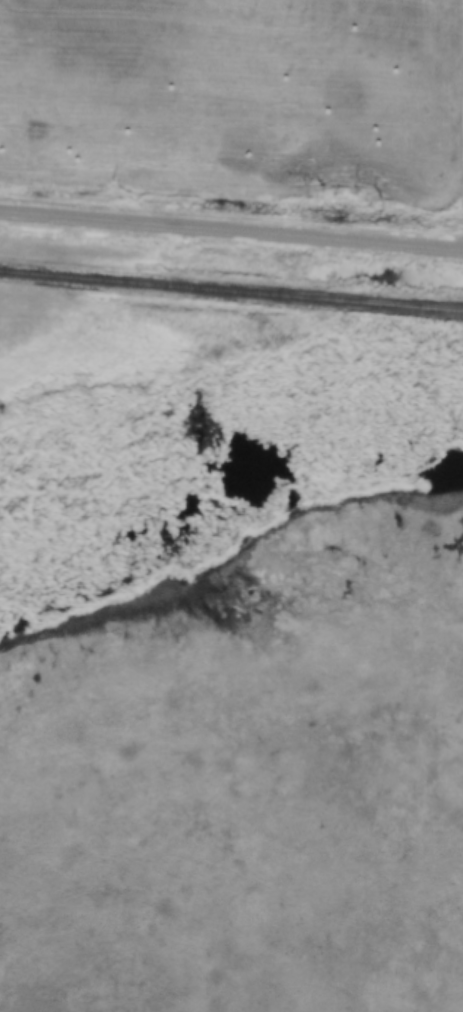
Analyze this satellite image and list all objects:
road: (231, 230)
railway: (231, 286)

